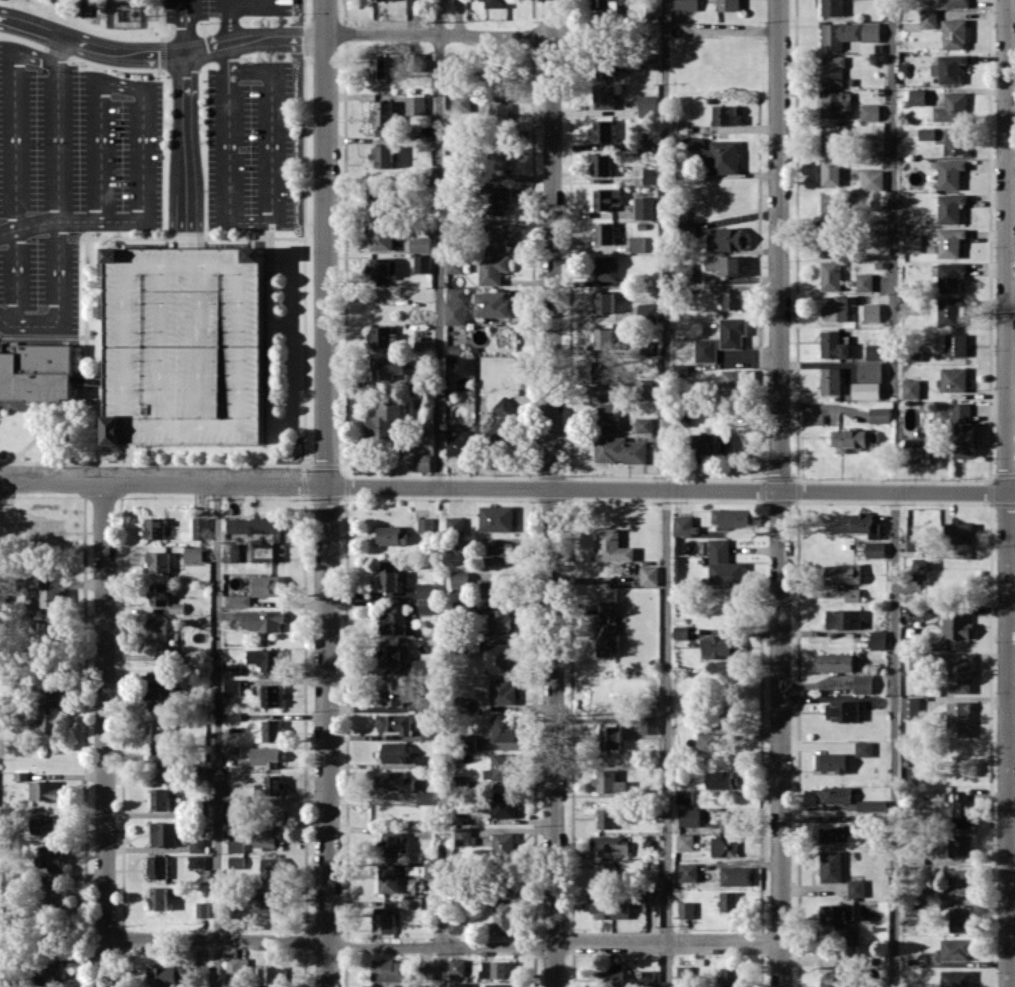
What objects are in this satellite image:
building: (496, 3)
building: (956, 3)
building: (606, 4)
building: (686, 4)
building: (727, 5)
road: (253, 6)
building: (414, 6)
building: (832, 7)
parking lot: (223, 8)
building: (928, 17)
road: (229, 21)
road: (185, 26)
building: (870, 32)
building: (953, 33)
road: (438, 34)
building: (840, 36)
road: (160, 53)
building: (646, 60)
road: (107, 66)
building: (604, 66)
building: (379, 68)
building: (949, 68)
building: (832, 69)
building: (495, 74)
road: (117, 83)
building: (603, 96)
building: (917, 96)
road: (195, 103)
building: (415, 104)
building: (461, 104)
building: (836, 104)
building: (647, 105)
building: (952, 107)
building: (498, 112)
building: (870, 112)
building: (382, 114)
building: (725, 114)
building: (602, 130)
building: (926, 133)
building: (831, 137)
building: (646, 140)
building: (955, 140)
building: (693, 142)
parking lot: (249, 144)
road: (186, 150)
building: (500, 153)
building: (383, 156)
building: (723, 156)
road: (14, 161)
building: (601, 165)
building: (830, 171)
building: (949, 173)
parking lot: (67, 176)
building: (650, 176)
road: (58, 179)
building: (872, 179)
road: (893, 196)
building: (498, 198)
building: (606, 198)
building: (381, 199)
building: (830, 205)
building: (644, 207)
building: (949, 207)
road: (70, 221)
road: (257, 221)
building: (604, 233)
building: (381, 234)
road: (118, 235)
road: (251, 235)
building: (496, 237)
road: (195, 238)
building: (727, 238)
road: (439, 242)
building: (829, 242)
building: (950, 242)
building: (636, 243)
building: (912, 243)
building: (420, 244)
building: (422, 263)
building: (454, 263)
building: (726, 264)
building: (605, 267)
building: (492, 268)
building: (382, 269)
building: (683, 270)
building: (830, 275)
building: (950, 276)
building: (864, 281)
building: (455, 293)
building: (732, 299)
building: (604, 301)
building: (490, 304)
building: (836, 308)
building: (950, 310)
building: (647, 311)
building: (455, 312)
building: (872, 312)
road: (3, 320)
road: (32, 323)
building: (732, 332)
road: (43, 335)
building: (382, 336)
building: (603, 337)
building: (955, 344)
building: (833, 345)
building: (182, 346)
parking lot: (182, 346)
road: (87, 348)
building: (651, 348)
building: (705, 350)
building: (874, 352)
building: (462, 365)
building: (386, 367)
building: (680, 371)
building: (869, 371)
building: (40, 374)
building: (603, 377)
building: (412, 379)
building: (953, 379)
building: (734, 380)
building: (830, 380)
building: (911, 388)
building: (643, 389)
building: (866, 390)
building: (416, 405)
building: (939, 411)
building: (880, 414)
building: (608, 416)
building: (383, 418)
building: (503, 420)
building: (644, 424)
building: (963, 431)
road: (37, 435)
building: (850, 439)
building: (460, 443)
building: (713, 443)
building: (918, 447)
building: (620, 449)
road: (119, 453)
road: (152, 462)
building: (421, 462)
road: (1, 479)
road: (507, 487)
road: (326, 493)
road: (553, 493)
road: (667, 493)
road: (780, 493)
road: (1008, 493)
building: (496, 517)
building: (730, 517)
building: (6, 518)
building: (861, 524)
building: (254, 525)
building: (425, 525)
building: (455, 525)
building: (684, 525)
building: (155, 527)
building: (199, 528)
building: (46, 530)
building: (958, 532)
building: (390, 535)
building: (914, 544)
building: (611, 546)
building: (875, 549)
building: (266, 551)
building: (500, 552)
building: (193, 553)
building: (159, 561)
building: (723, 564)
building: (921, 568)
building: (843, 573)
building: (649, 575)
building: (388, 577)
building: (459, 580)
building: (31, 581)
building: (266, 585)
building: (491, 587)
building: (425, 590)
building: (161, 593)
building: (852, 594)
building: (47, 598)
building: (241, 600)
building: (425, 605)
building: (260, 619)
building: (844, 619)
building: (393, 620)
building: (499, 621)
building: (956, 625)
building: (158, 628)
building: (607, 628)
building: (49, 632)
building: (680, 632)
building: (718, 646)
building: (392, 654)
building: (265, 658)
building: (497, 658)
building: (834, 662)
building: (421, 665)
building: (232, 669)
building: (155, 675)
building: (959, 675)
building: (862, 683)
building: (232, 686)
building: (502, 690)
building: (396, 691)
building: (49, 694)
building: (269, 694)
building: (156, 696)
building: (910, 707)
building: (842, 711)
building: (726, 716)
building: (959, 718)
building: (394, 722)
building: (48, 723)
building: (648, 724)
building: (503, 728)
building: (155, 730)
building: (269, 730)
building: (428, 733)
road: (104, 735)
road: (217, 735)
building: (610, 736)
road: (894, 739)
building: (469, 741)
building: (706, 741)
building: (863, 748)
building: (233, 751)
building: (393, 752)
building: (265, 756)
building: (830, 761)
building: (161, 767)
building: (500, 767)
building: (720, 779)
building: (395, 780)
building: (608, 781)
building: (270, 785)
building: (44, 790)
building: (833, 794)
building: (684, 796)
building: (425, 797)
building: (160, 799)
building: (231, 804)
building: (503, 804)
building: (872, 805)
building: (959, 808)
building: (689, 817)
building: (606, 818)
building: (728, 819)
building: (44, 824)
building: (163, 833)
building: (837, 833)
building: (463, 836)
building: (267, 838)
building: (685, 841)
building: (197, 844)
building: (503, 844)
building: (393, 845)
building: (609, 845)
building: (960, 845)
building: (236, 846)
building: (724, 846)
building: (51, 856)
building: (196, 861)
building: (236, 861)
building: (831, 866)
building: (157, 867)
building: (271, 867)
building: (428, 869)
building: (607, 872)
building: (688, 872)
building: (737, 875)
building: (390, 876)
building: (959, 880)
building: (504, 882)
building: (856, 887)
building: (54, 895)
building: (651, 896)
building: (159, 898)
building: (266, 901)
building: (728, 901)
building: (393, 904)
building: (610, 907)
building: (202, 909)
building: (686, 909)
building: (836, 913)
building: (914, 913)
building: (503, 917)
building: (960, 919)
building: (383, 923)
building: (457, 925)
road: (442, 930)
building: (846, 932)
road: (443, 947)
building: (955, 949)
building: (457, 966)
building: (237, 968)
building: (496, 968)
building: (51, 969)
building: (389, 970)
building: (427, 972)
building: (166, 974)
building: (610, 974)
building: (270, 975)
building: (728, 976)
building: (647, 977)
building: (832, 978)
building: (956, 978)
building: (463, 984)
building: (500, 985)
building: (378, 986)

